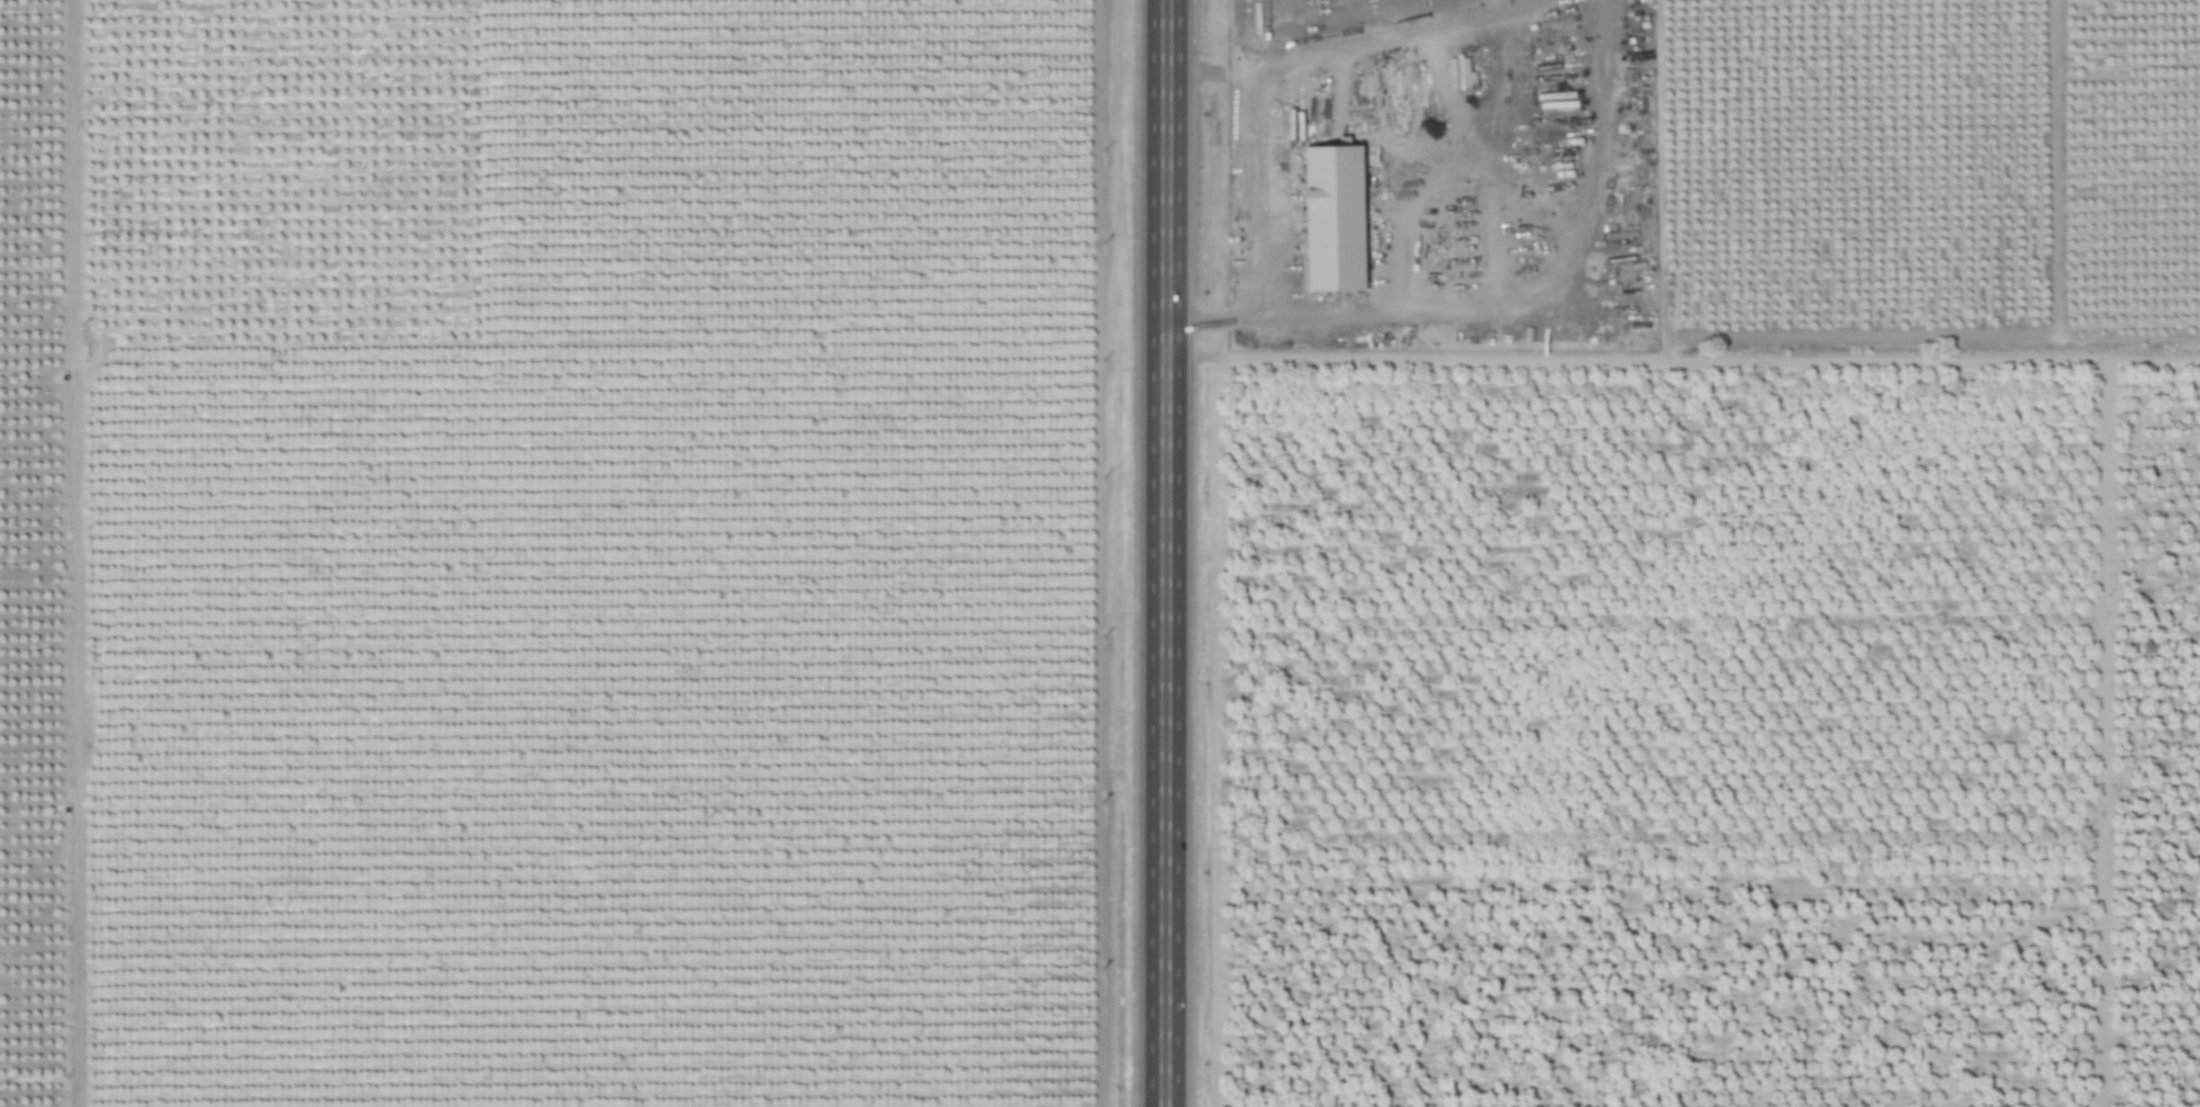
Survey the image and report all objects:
road: (1286, 32)
road: (1357, 49)
building: (1464, 74)
building: (1335, 221)
road: (1260, 235)
road: (1163, 553)

